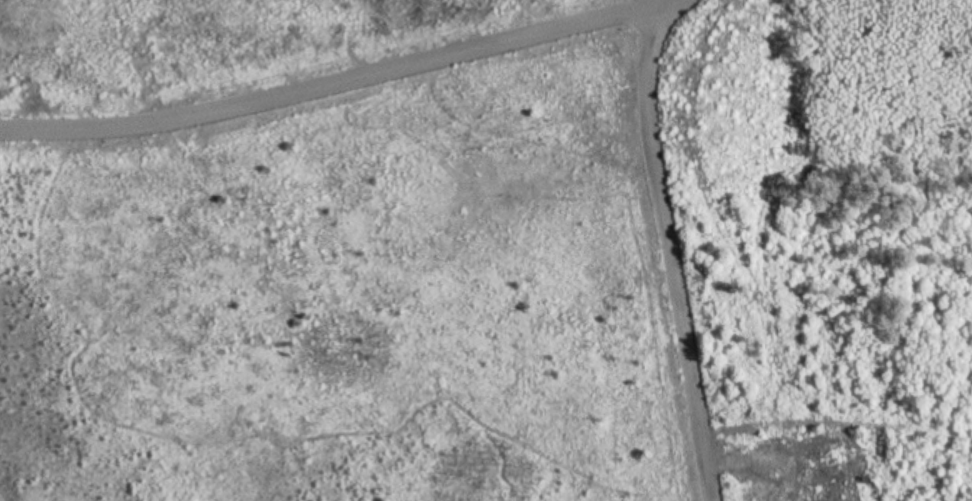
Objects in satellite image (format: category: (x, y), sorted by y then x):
road: (336, 83)
road: (671, 247)

